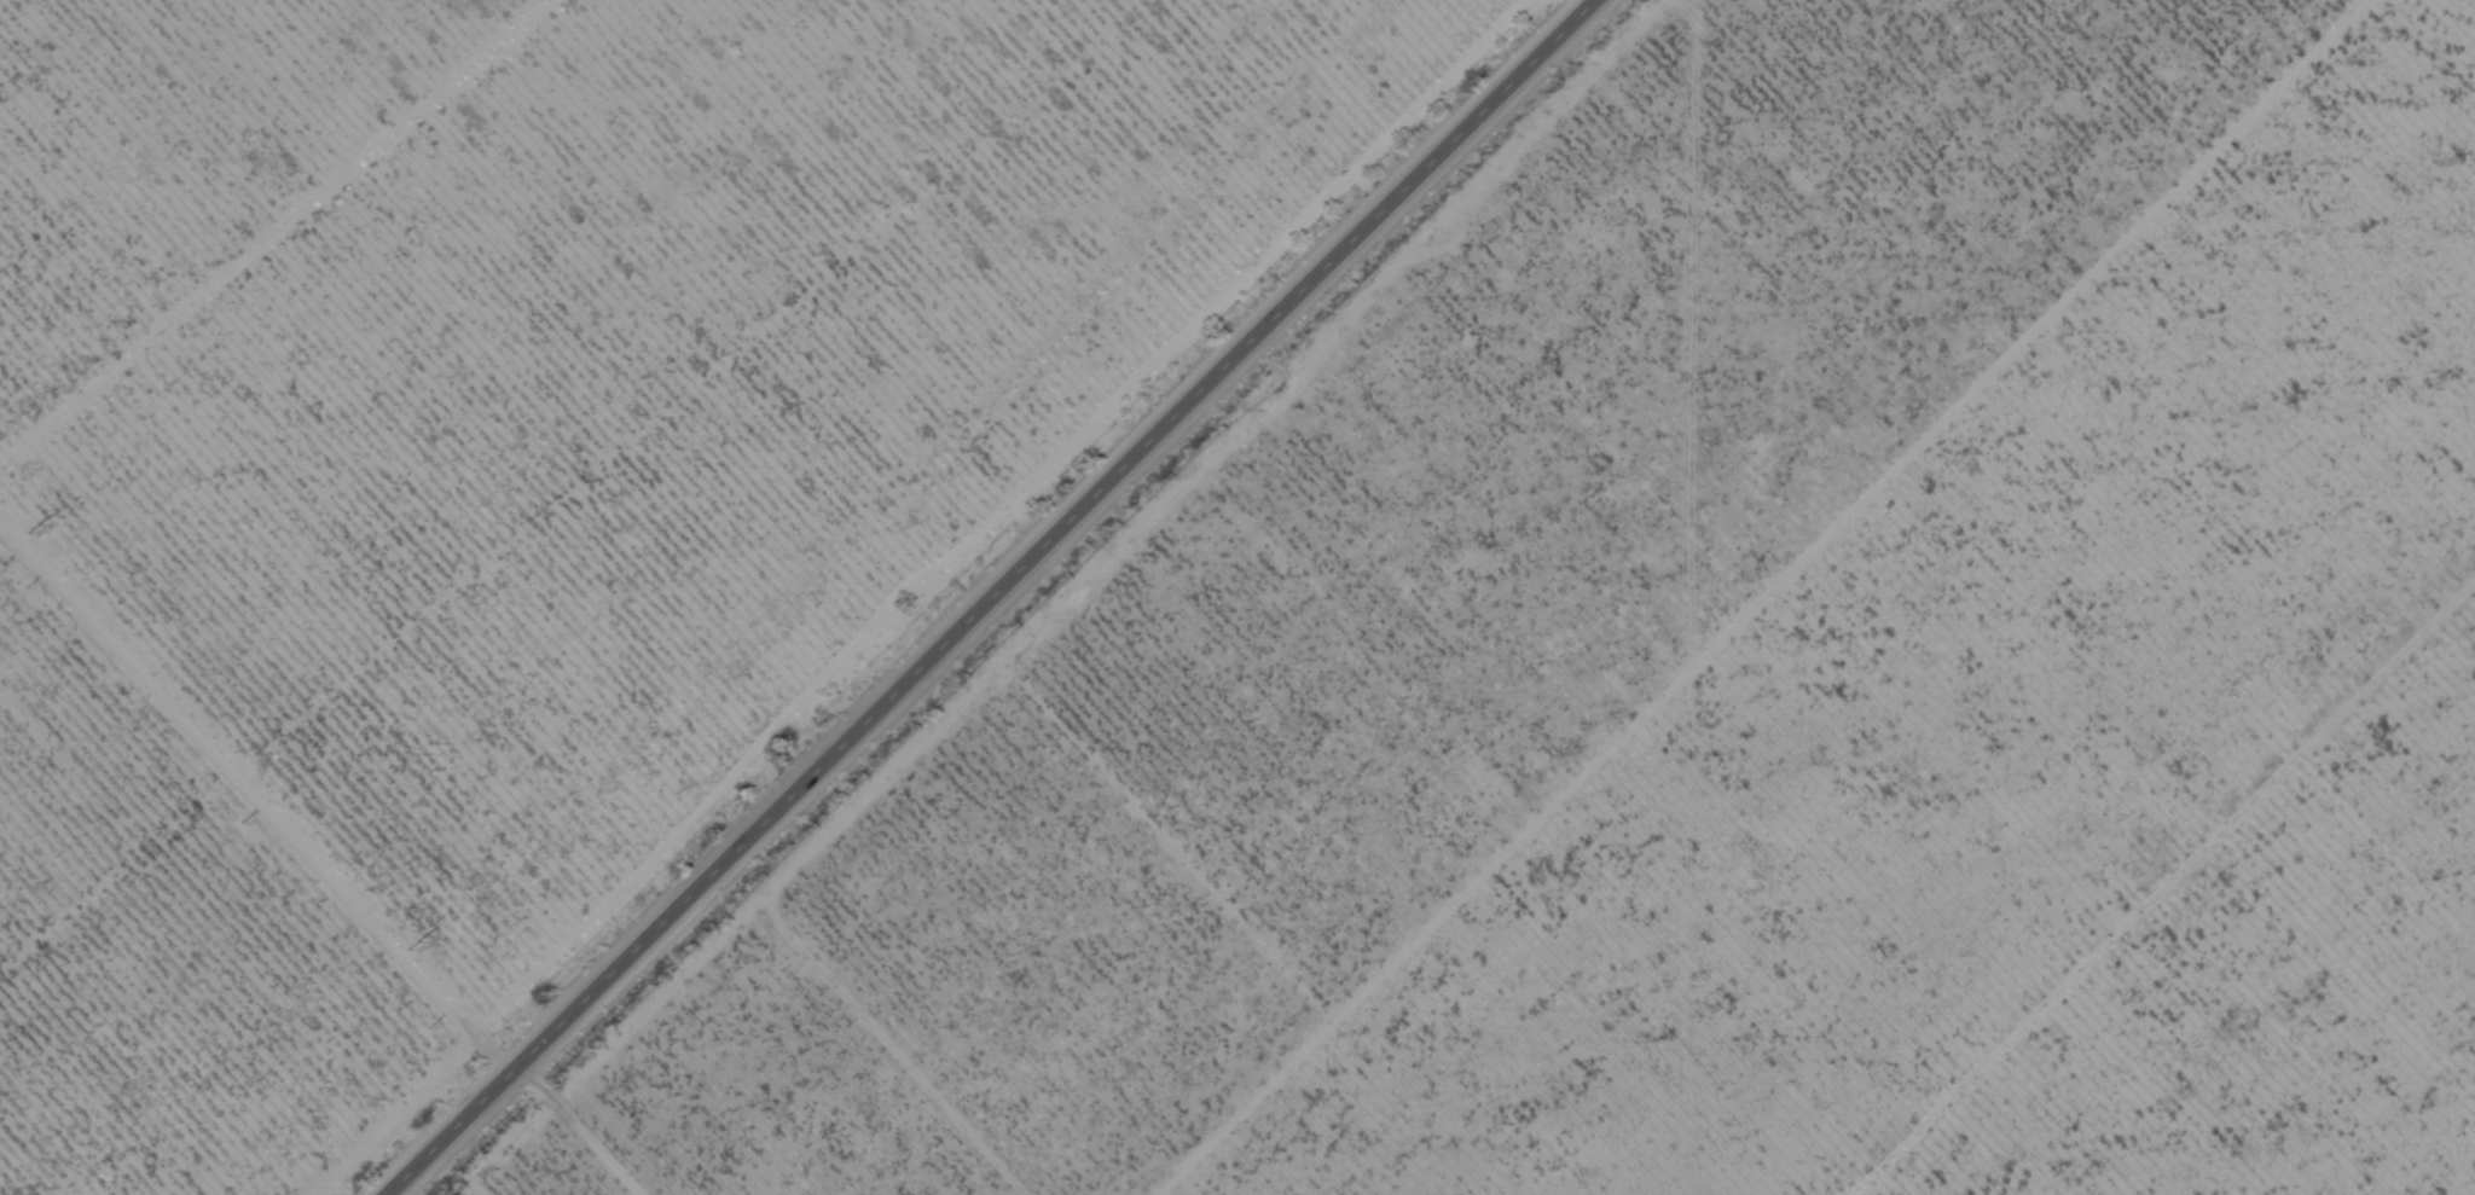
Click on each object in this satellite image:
power tower: (41, 524)
road: (986, 597)
power tower: (450, 949)

